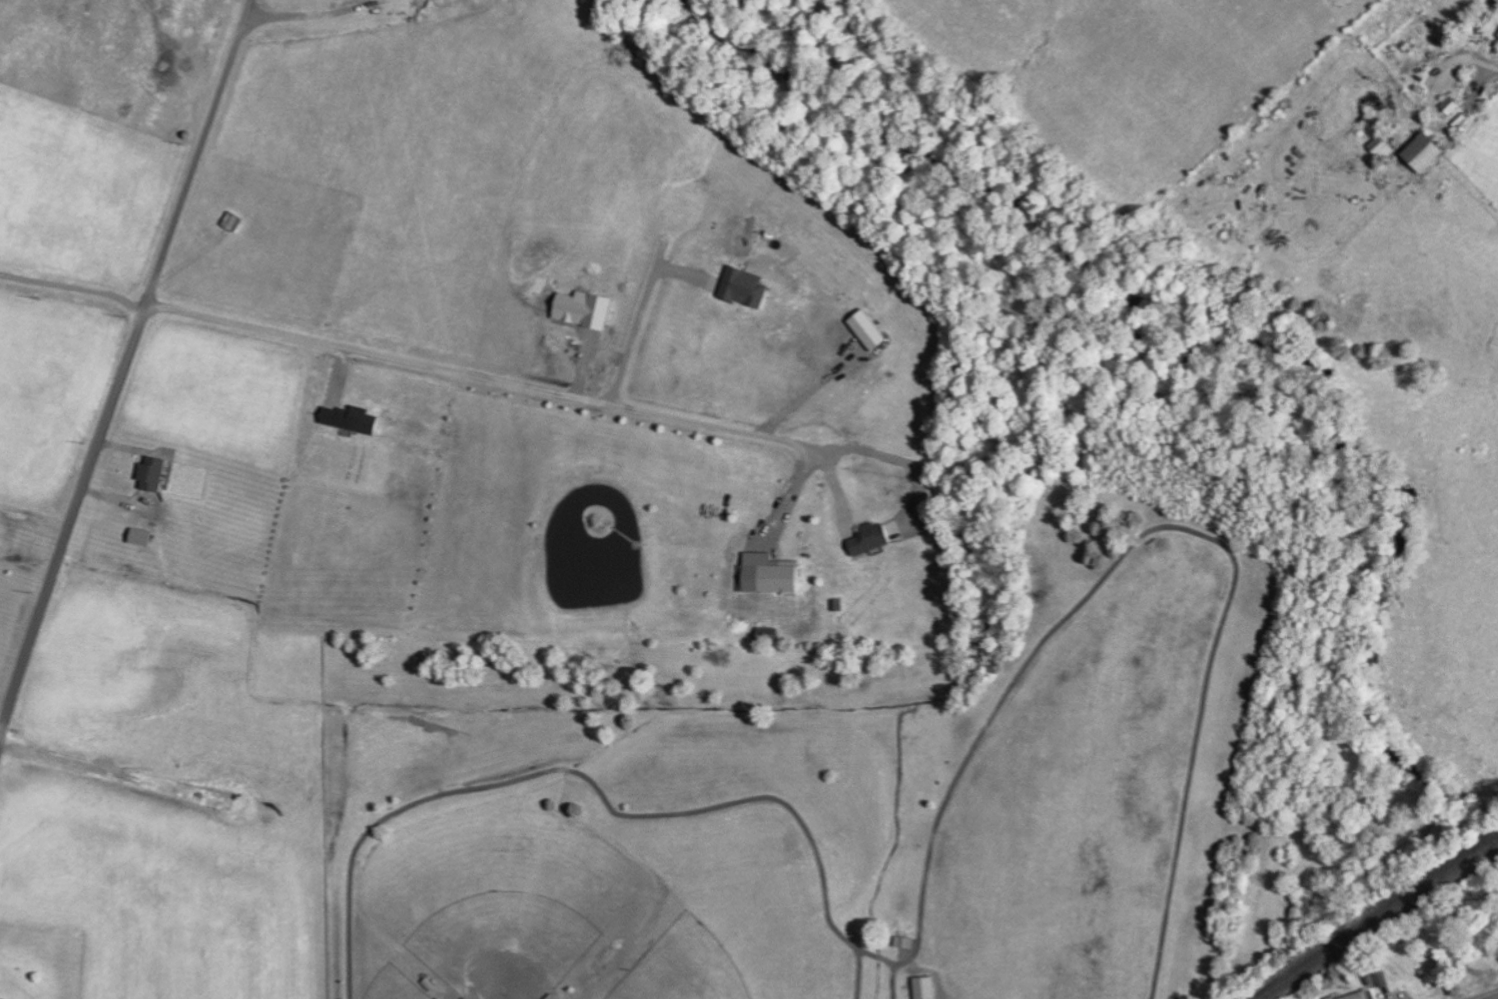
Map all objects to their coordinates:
building: (1451, 106)
road: (1326, 126)
building: (1424, 154)
building: (745, 289)
road: (1324, 330)
building: (869, 331)
road: (715, 408)
road: (54, 409)
building: (349, 420)
building: (152, 473)
road: (79, 494)
road: (1161, 526)
building: (140, 538)
building: (870, 540)
road: (31, 544)
road: (208, 544)
building: (767, 575)
building: (768, 635)
road: (595, 784)
park: (859, 818)
railway: (1379, 921)
building: (904, 942)
road: (859, 974)
road: (892, 981)
building: (923, 987)
park: (444, 993)
park: (553, 996)
building: (1359, 996)
building: (1333, 997)

